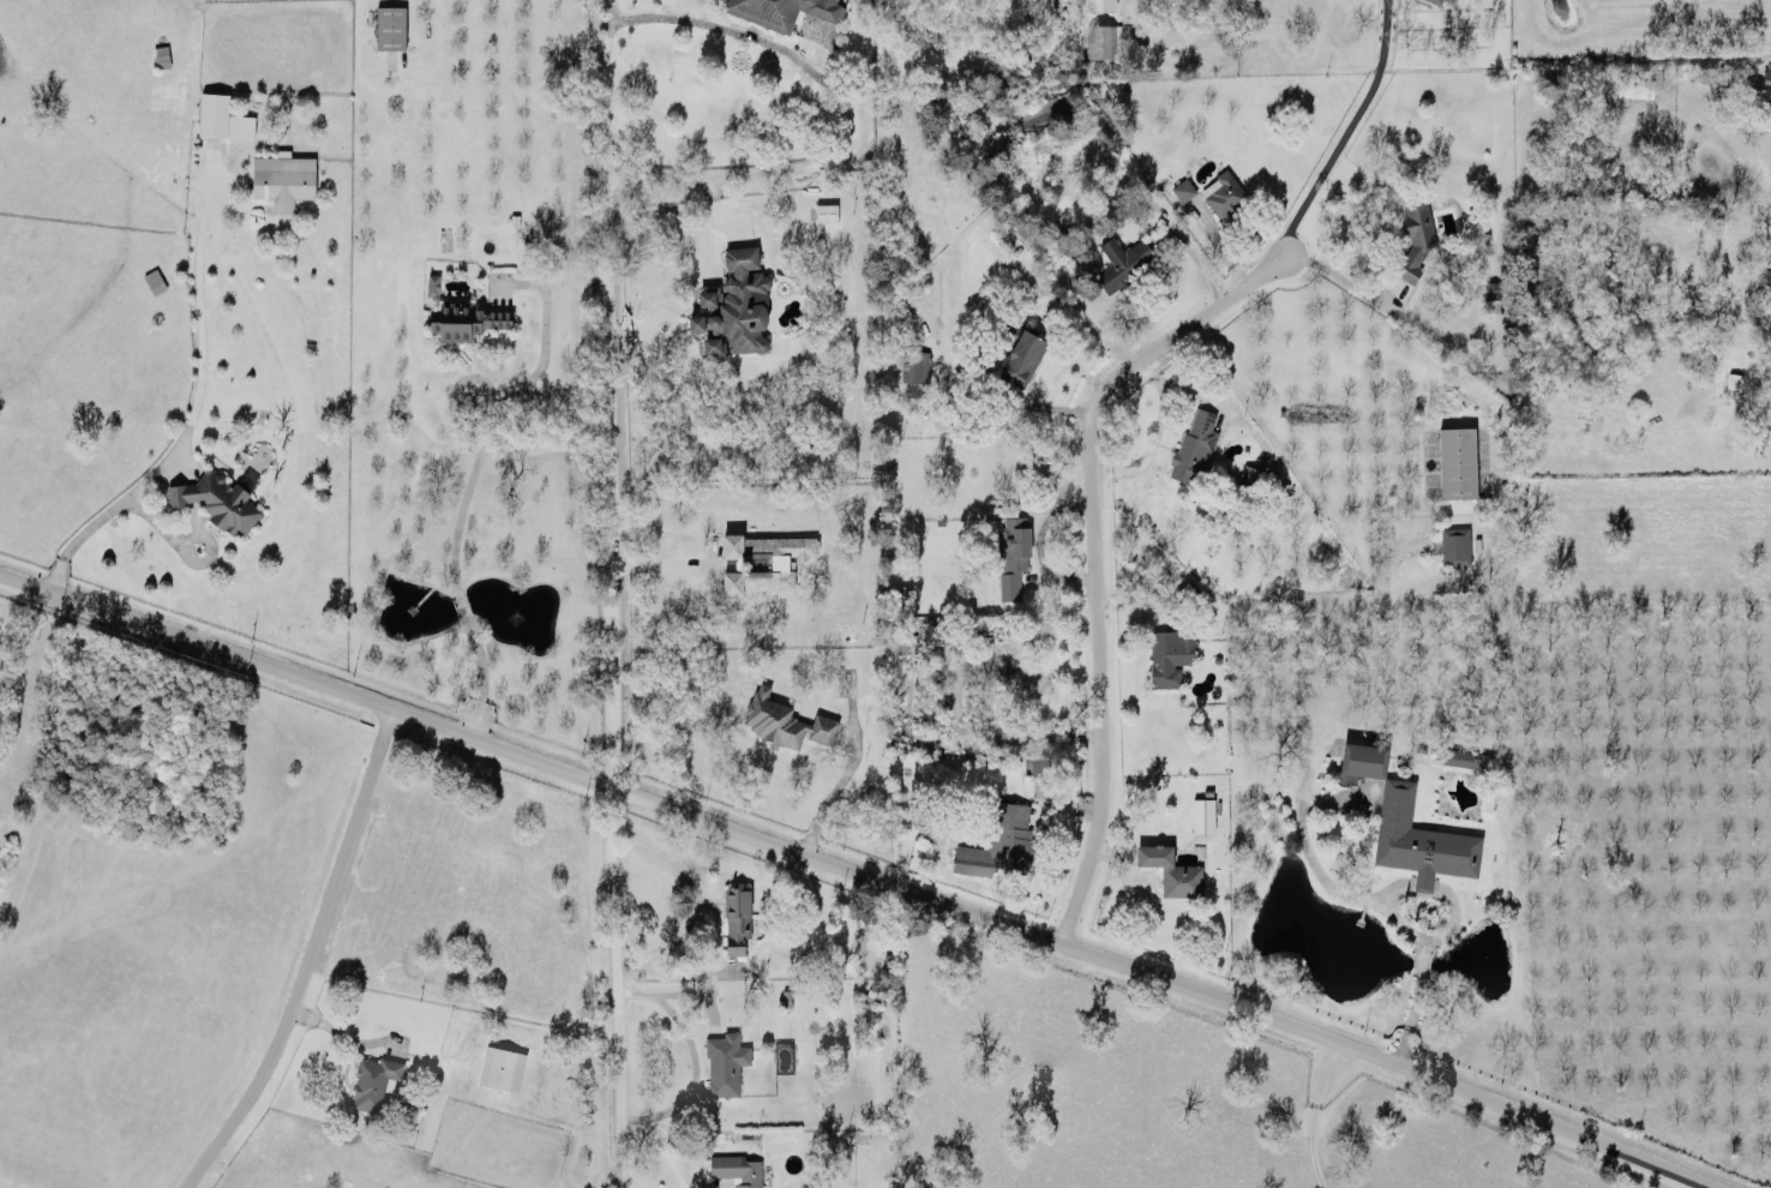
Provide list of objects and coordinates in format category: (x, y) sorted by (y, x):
building: (1436, 0)
building: (1451, 0)
building: (1099, 4)
building: (780, 10)
building: (389, 25)
road: (1059, 35)
building: (1100, 38)
building: (161, 59)
building: (1766, 76)
building: (1634, 85)
building: (212, 112)
building: (1040, 112)
road: (842, 113)
road: (1334, 128)
building: (282, 178)
building: (1182, 187)
building: (1223, 192)
building: (826, 210)
road: (1176, 227)
building: (1413, 236)
building: (1121, 260)
road: (1341, 276)
building: (1767, 277)
building: (154, 278)
building: (431, 282)
building: (733, 304)
building: (463, 318)
building: (1021, 356)
building: (914, 364)
building: (1731, 378)
road: (607, 390)
road: (1184, 390)
road: (190, 415)
building: (1194, 444)
building: (1455, 461)
building: (1255, 478)
road: (464, 488)
building: (216, 499)
road: (1038, 542)
building: (1454, 545)
building: (1011, 552)
road: (1091, 553)
building: (764, 558)
road: (664, 563)
road: (460, 604)
building: (927, 630)
building: (895, 636)
building: (1169, 654)
road: (478, 672)
building: (782, 718)
building: (1464, 756)
building: (1039, 762)
road: (828, 793)
building: (1202, 812)
building: (1406, 822)
building: (998, 840)
building: (1170, 866)
road: (859, 870)
road: (692, 894)
building: (737, 913)
road: (306, 956)
road: (672, 972)
road: (614, 984)
road: (690, 1055)
building: (724, 1062)
building: (500, 1067)
building: (372, 1080)
road: (1313, 1114)
building: (737, 1168)

